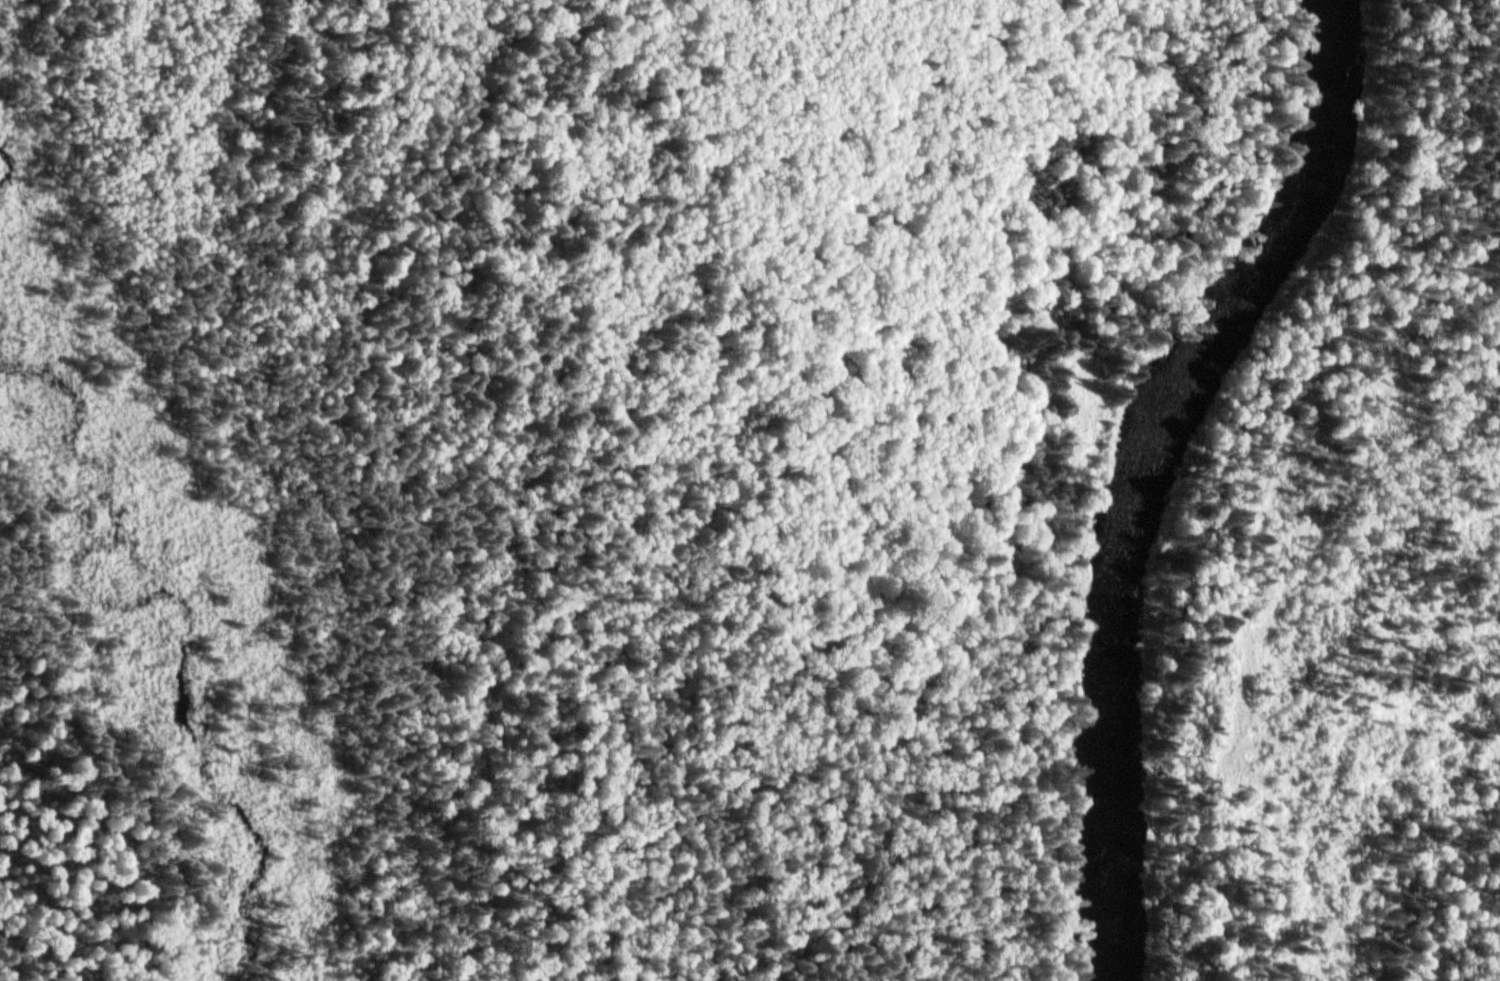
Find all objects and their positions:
river: (1183, 411)
river: (1120, 918)

